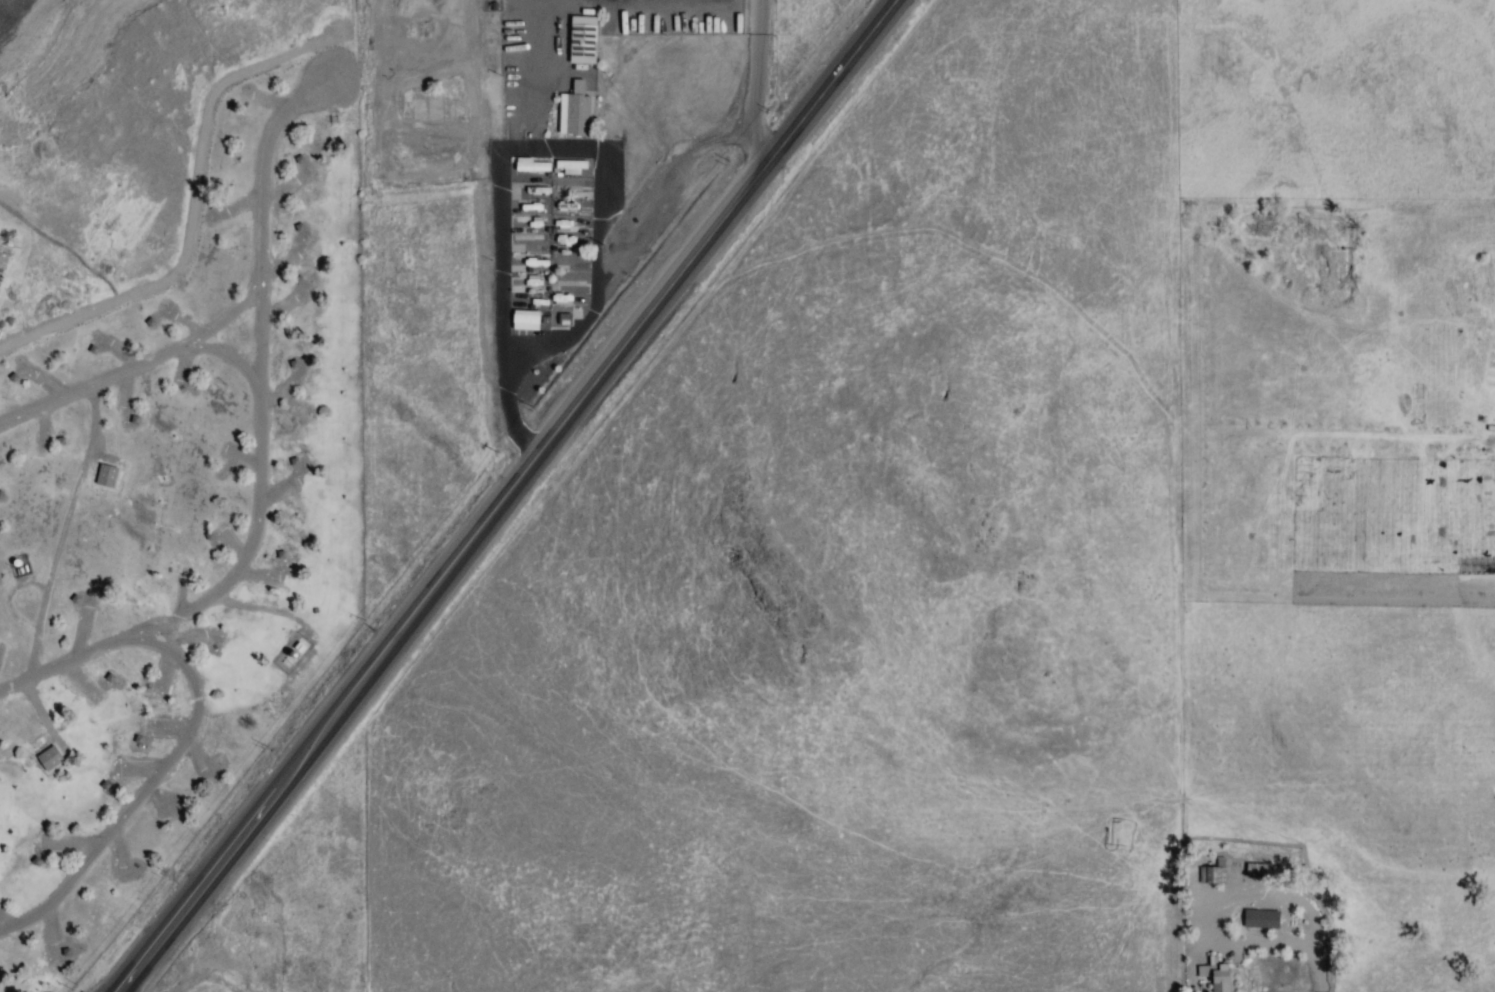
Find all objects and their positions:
building: (582, 41)
crop: (824, 93)
building: (574, 112)
building: (530, 185)
building: (525, 321)
building: (105, 475)
road: (507, 497)
crop: (1337, 596)
building: (48, 758)
crop: (264, 794)
building: (1254, 870)
building: (1258, 919)
building: (1215, 974)

